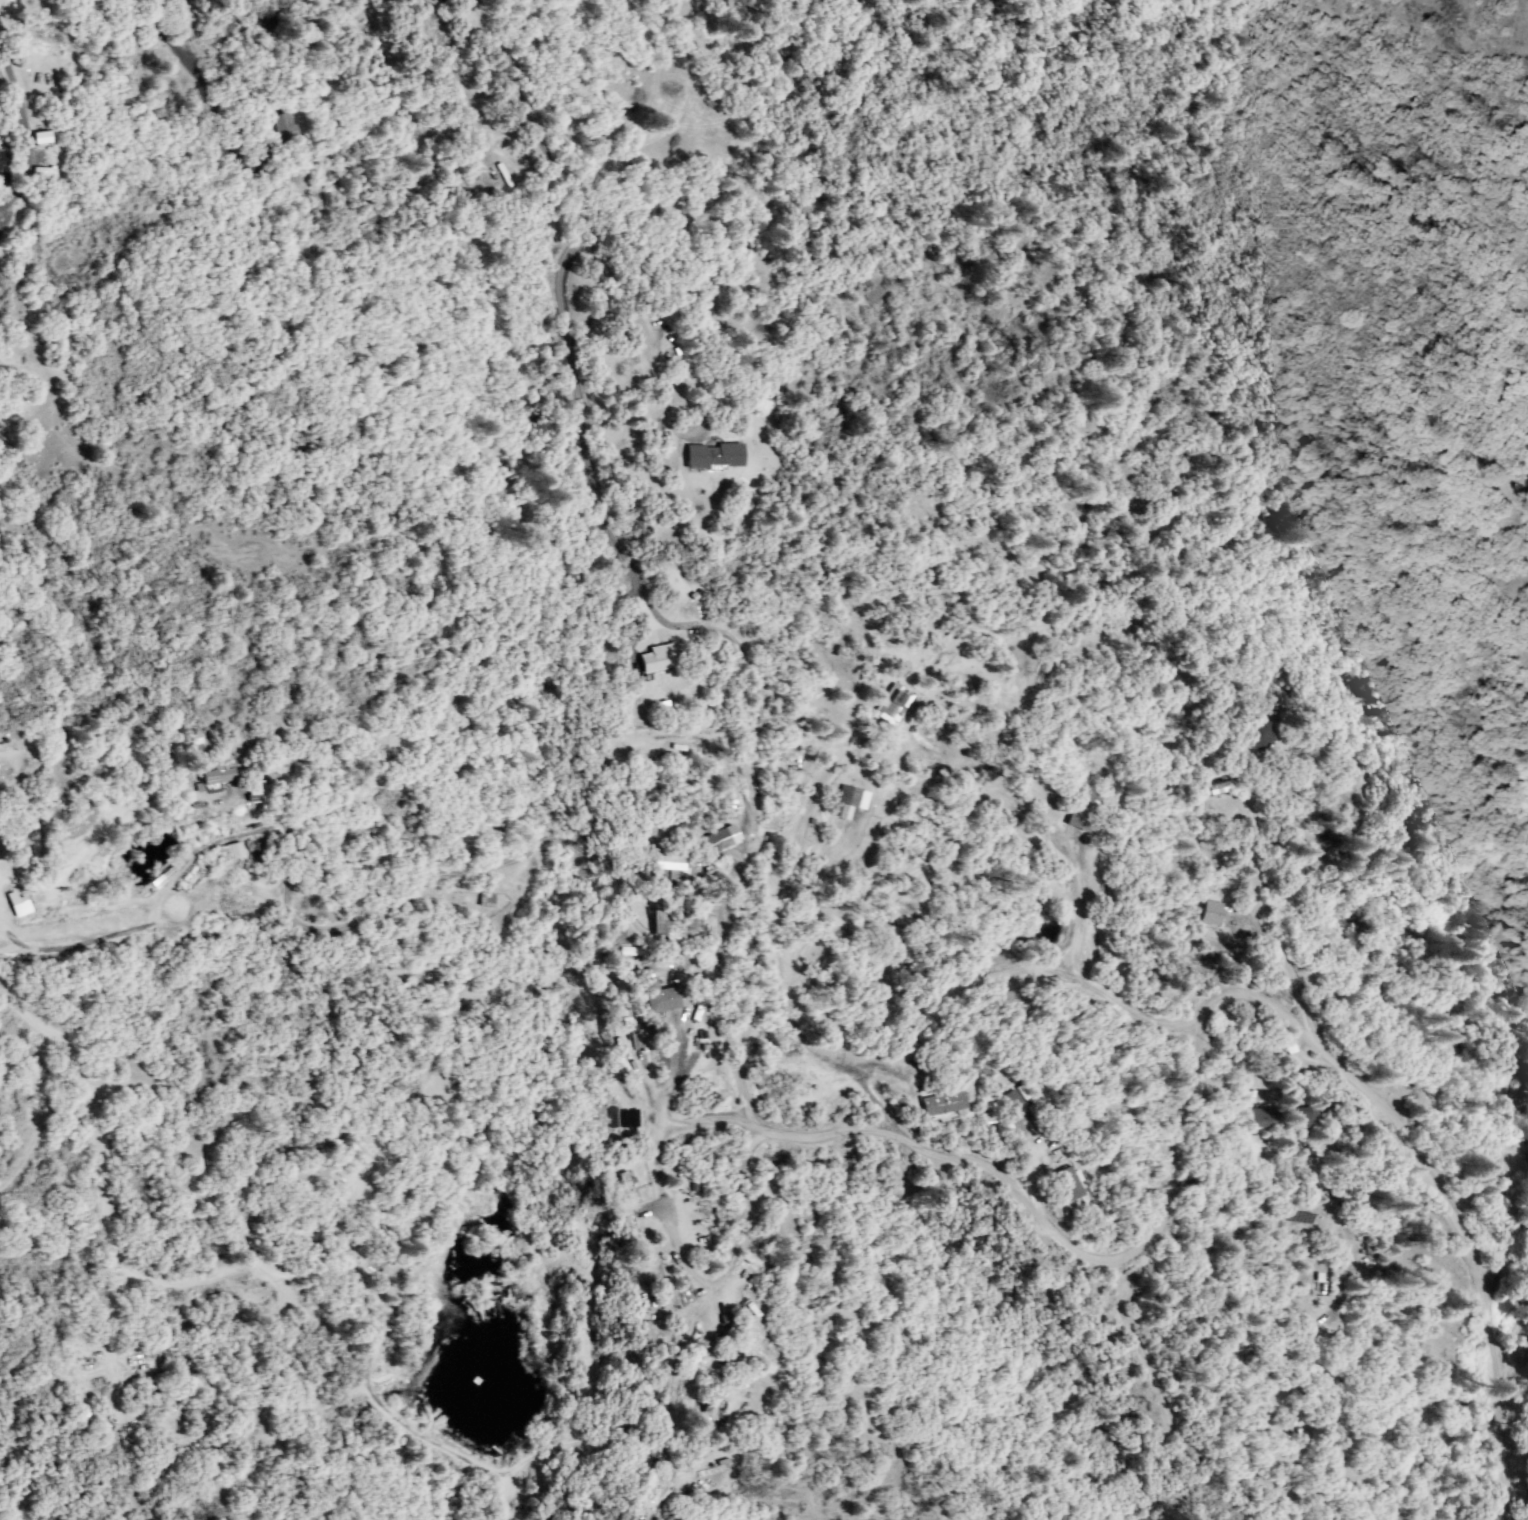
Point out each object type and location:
road: (512, 86)
building: (284, 126)
building: (41, 137)
building: (3, 167)
building: (715, 456)
building: (664, 660)
building: (896, 705)
building: (1258, 735)
building: (195, 745)
building: (210, 779)
building: (1220, 788)
building: (260, 793)
building: (850, 804)
building: (1086, 806)
building: (719, 841)
building: (233, 850)
building: (262, 852)
building: (670, 867)
building: (1525, 878)
building: (486, 900)
building: (22, 905)
building: (1212, 914)
building: (676, 927)
building: (665, 999)
building: (1013, 1101)
building: (943, 1104)
building: (1264, 1117)
building: (1302, 1118)
road: (1174, 1140)
building: (1070, 1184)
building: (629, 1189)
building: (699, 1251)
building: (743, 1336)
building: (1319, 1352)
road: (1496, 1391)
road: (656, 1499)

